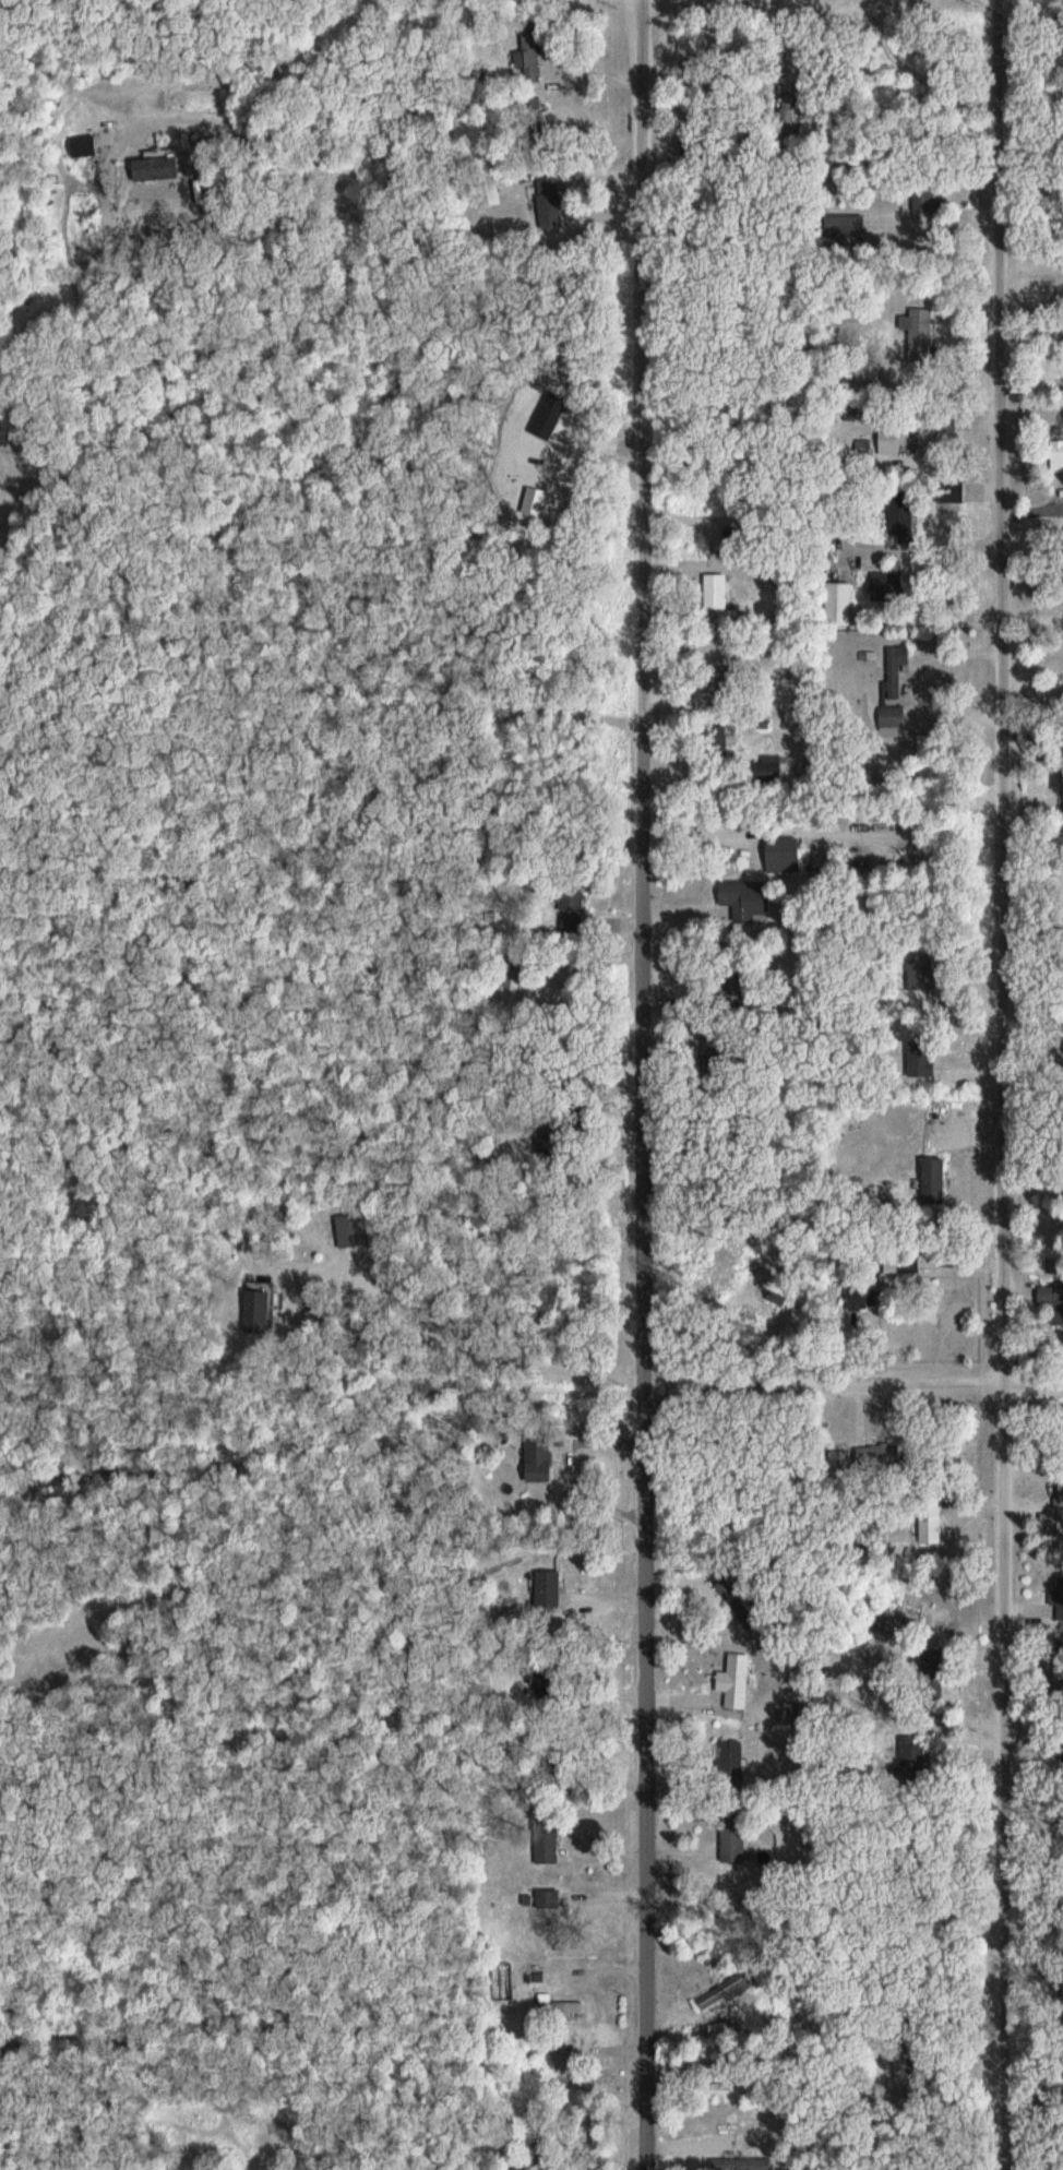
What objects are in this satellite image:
road: (462, 12)
road: (406, 60)
building: (530, 64)
building: (89, 145)
building: (490, 190)
building: (930, 198)
building: (551, 202)
building: (923, 327)
building: (952, 420)
building: (895, 440)
building: (865, 450)
building: (1061, 450)
building: (904, 526)
building: (719, 592)
building: (900, 657)
building: (895, 717)
building: (717, 744)
building: (768, 768)
building: (786, 856)
building: (822, 858)
building: (747, 894)
building: (569, 898)
building: (574, 925)
building: (922, 971)
building: (923, 1059)
road: (648, 1084)
road: (1006, 1084)
building: (935, 1180)
building: (912, 1265)
building: (1053, 1297)
road: (536, 1302)
building: (261, 1309)
road: (856, 1385)
building: (540, 1459)
building: (1058, 1504)
building: (933, 1525)
building: (550, 1587)
building: (740, 1680)
building: (916, 1757)
building: (732, 1766)
building: (548, 1845)
building: (734, 1846)
building: (551, 1896)
building: (727, 1998)
building: (557, 2005)

